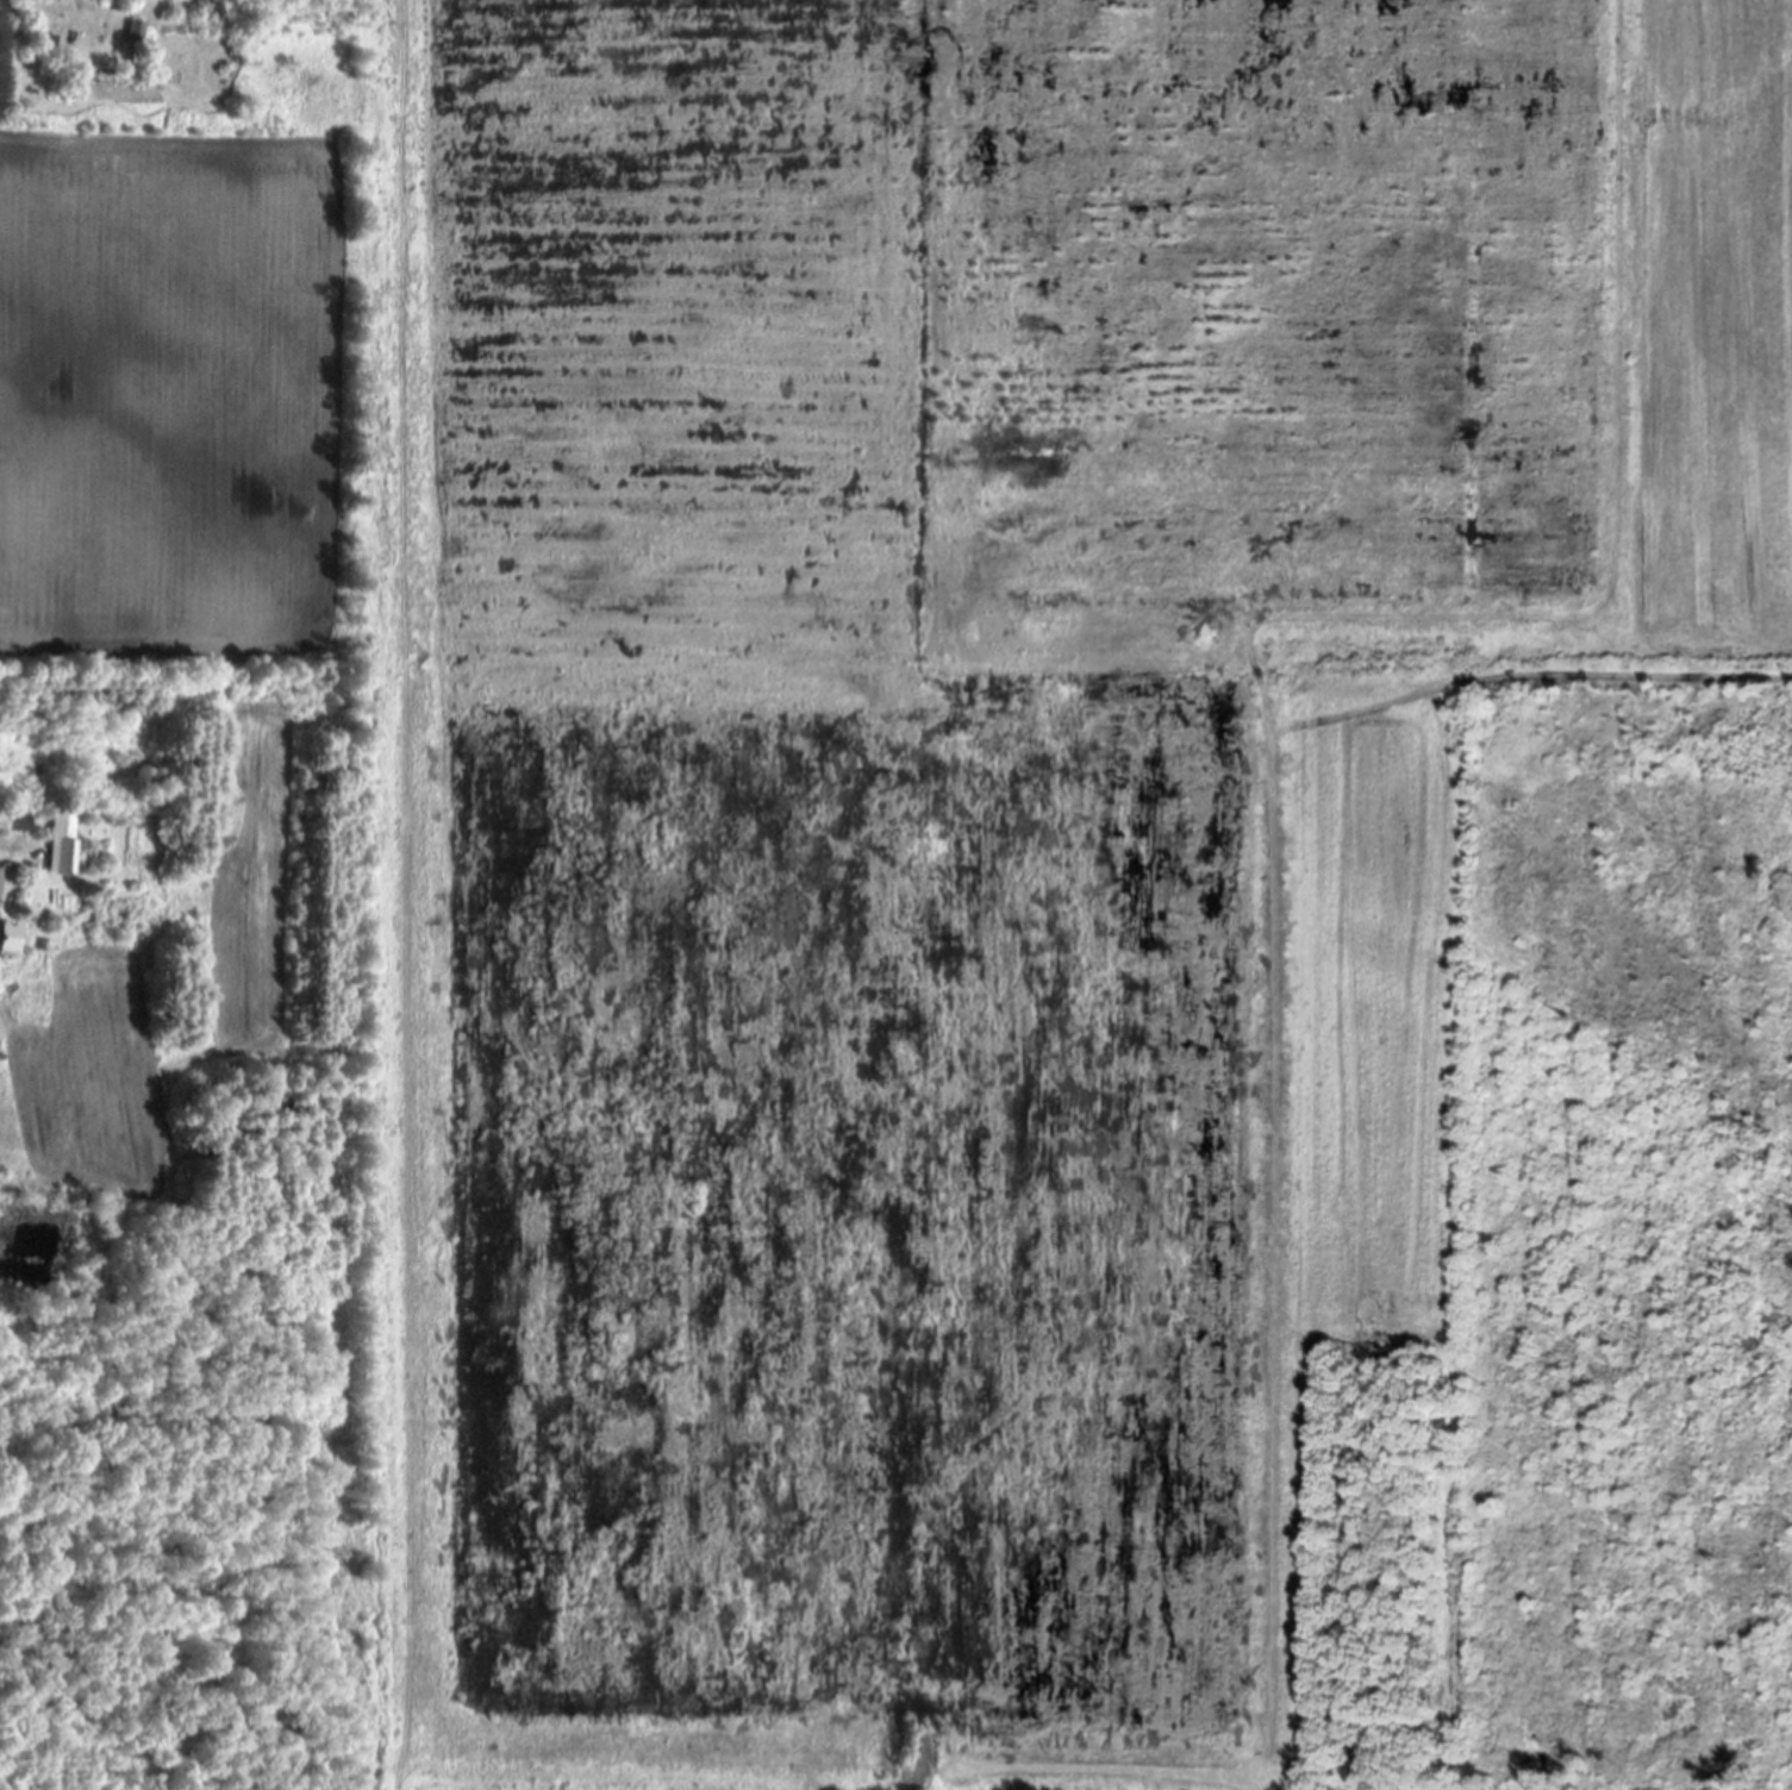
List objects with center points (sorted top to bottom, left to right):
building: (133, 32)
building: (15, 821)
building: (61, 841)

